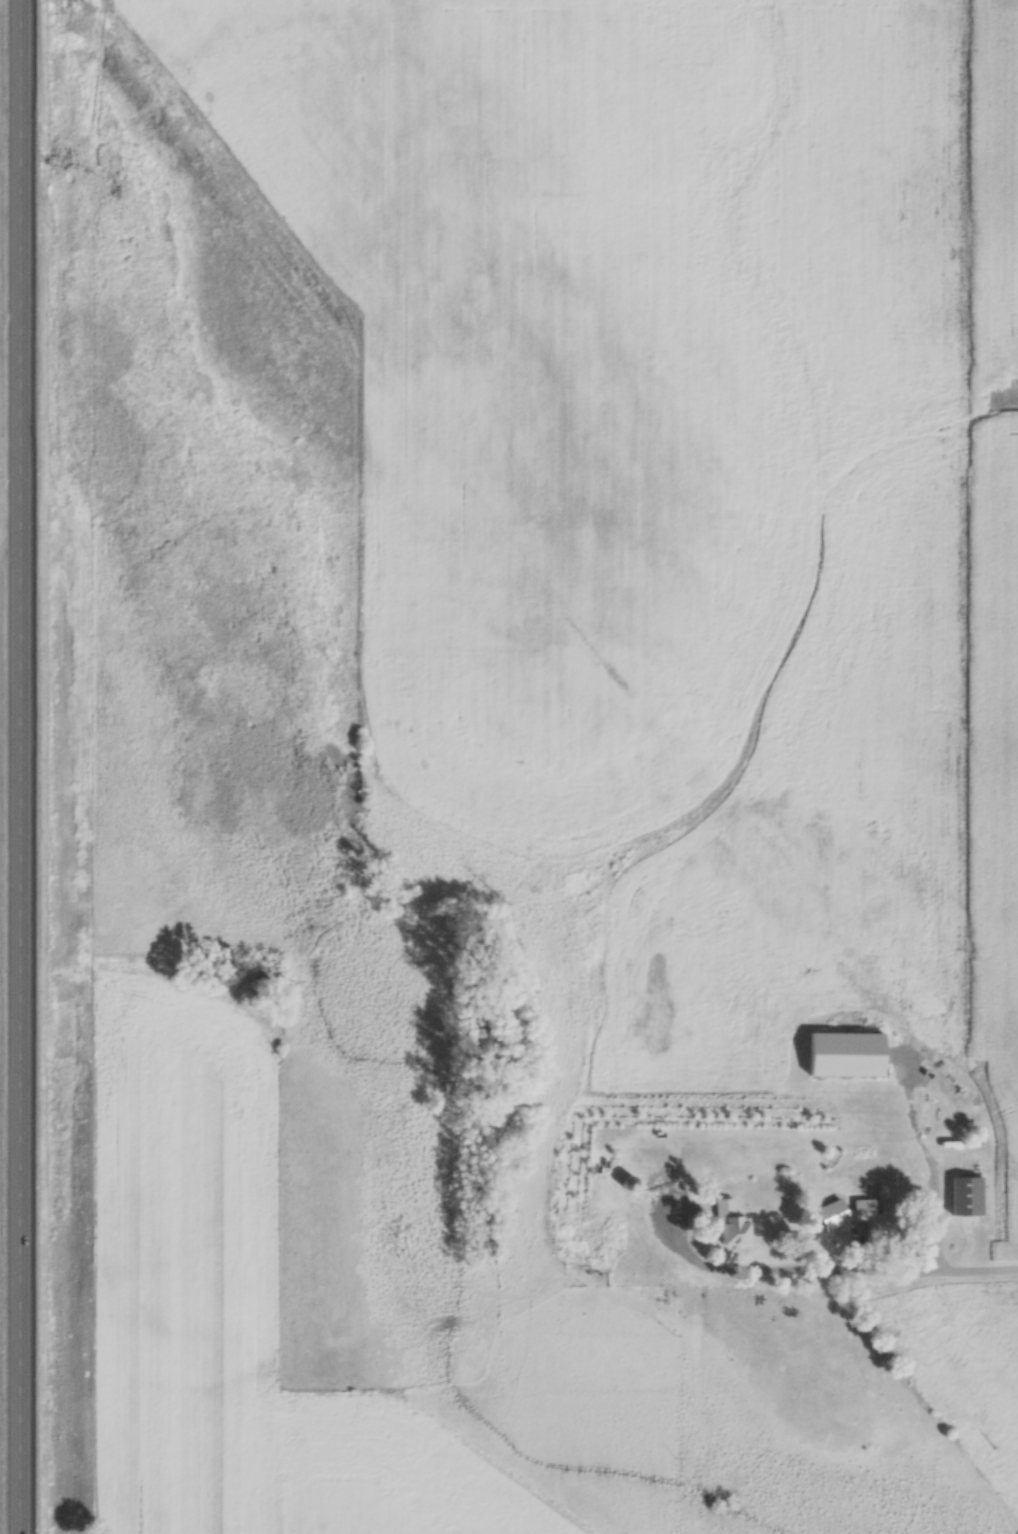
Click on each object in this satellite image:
road: (14, 767)
building: (599, 1115)
building: (963, 1194)
building: (868, 1216)
building: (727, 1223)
building: (579, 1232)
road: (883, 1272)

